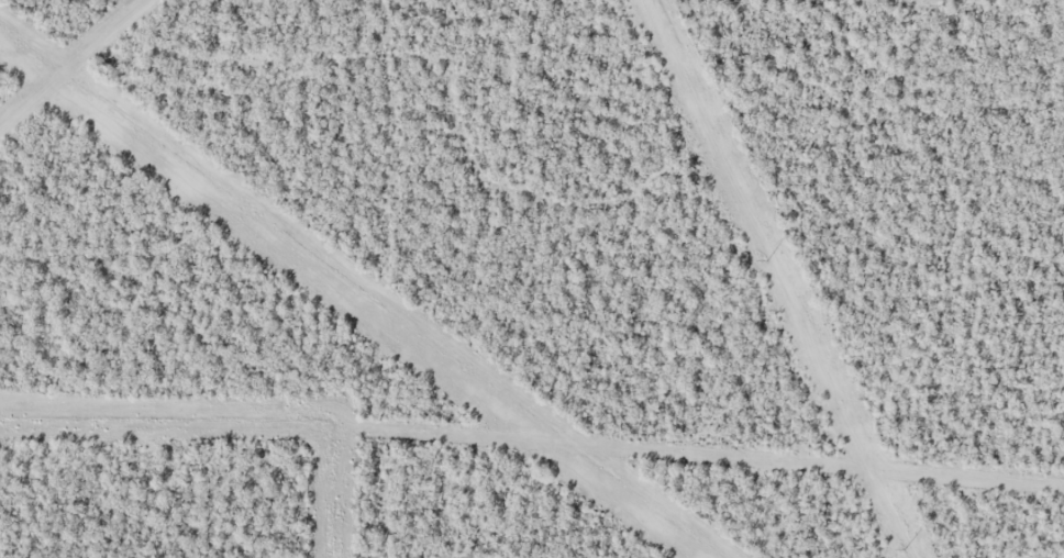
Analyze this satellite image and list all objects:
power tower: (766, 258)
power tower: (904, 547)

